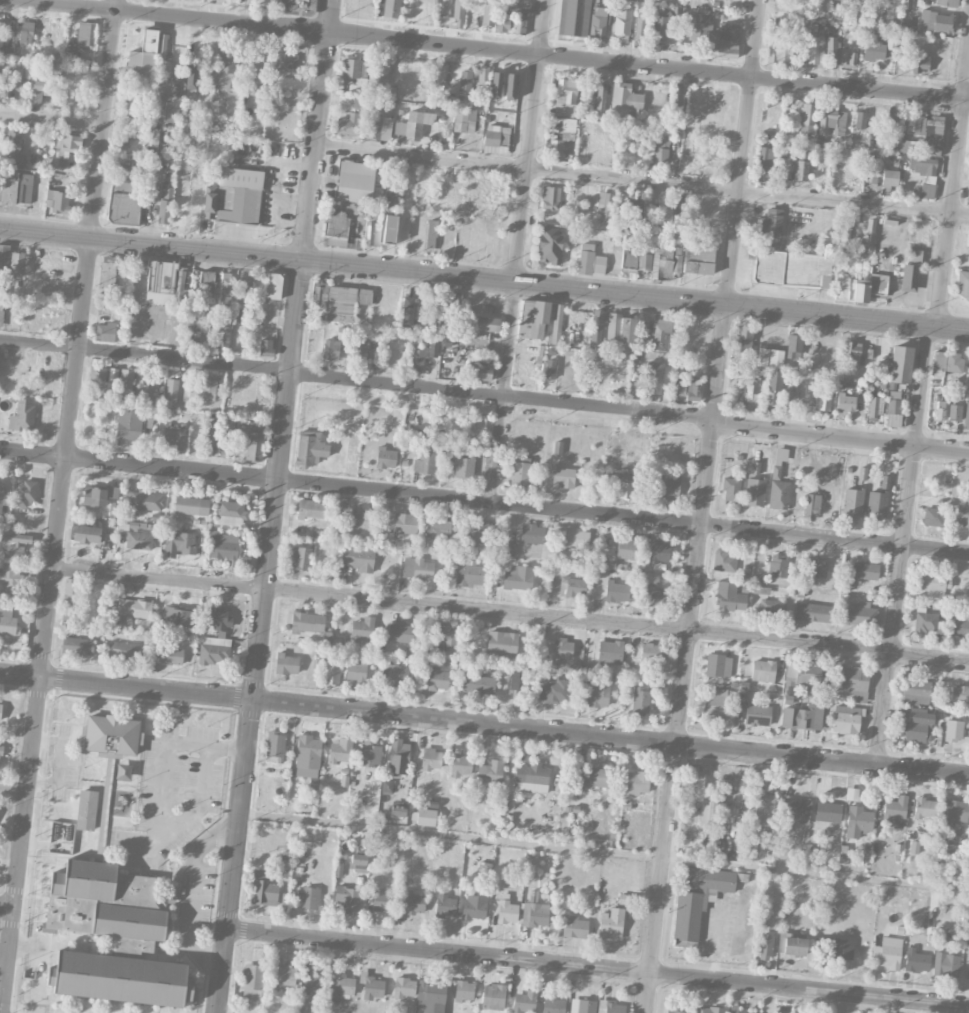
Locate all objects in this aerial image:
building: (277, 1)
building: (489, 1)
building: (854, 2)
building: (513, 3)
building: (907, 3)
building: (946, 3)
building: (391, 8)
building: (451, 8)
building: (873, 10)
building: (838, 11)
building: (891, 12)
building: (488, 14)
building: (574, 17)
building: (935, 22)
building: (502, 23)
building: (519, 23)
building: (622, 23)
building: (660, 24)
building: (696, 25)
building: (597, 26)
building: (639, 28)
building: (85, 35)
building: (1, 36)
building: (25, 36)
building: (726, 41)
building: (890, 42)
road: (492, 50)
building: (779, 50)
building: (814, 50)
building: (831, 50)
building: (874, 50)
building: (279, 58)
building: (848, 58)
building: (919, 60)
building: (292, 61)
building: (158, 70)
building: (379, 72)
building: (225, 73)
building: (353, 74)
building: (192, 77)
building: (258, 78)
building: (482, 79)
building: (464, 84)
building: (495, 85)
building: (510, 86)
building: (38, 90)
building: (600, 97)
building: (565, 98)
building: (678, 100)
building: (624, 101)
building: (131, 104)
building: (809, 117)
building: (859, 120)
road: (53, 121)
building: (464, 121)
building: (832, 121)
building: (413, 125)
building: (373, 126)
building: (914, 134)
building: (124, 135)
building: (154, 135)
building: (565, 138)
building: (496, 139)
building: (67, 144)
building: (14, 149)
building: (659, 149)
building: (800, 153)
building: (766, 160)
building: (921, 166)
building: (801, 170)
building: (889, 178)
building: (355, 181)
building: (0, 182)
building: (126, 182)
road: (642, 182)
building: (25, 187)
building: (926, 190)
building: (391, 193)
building: (234, 196)
road: (953, 196)
building: (550, 197)
building: (968, 197)
building: (57, 200)
building: (123, 208)
building: (605, 208)
building: (164, 211)
building: (634, 213)
building: (664, 216)
building: (678, 219)
building: (334, 223)
building: (770, 224)
building: (389, 229)
building: (372, 234)
building: (431, 235)
building: (844, 236)
building: (868, 236)
building: (614, 243)
building: (548, 245)
road: (519, 252)
building: (915, 255)
building: (636, 257)
building: (698, 257)
building: (4, 258)
building: (586, 258)
building: (16, 263)
building: (599, 264)
building: (661, 267)
building: (791, 268)
building: (106, 274)
building: (909, 277)
road: (484, 280)
building: (160, 282)
building: (181, 284)
building: (877, 284)
building: (274, 285)
building: (206, 286)
building: (963, 286)
building: (851, 289)
building: (226, 290)
building: (243, 292)
building: (320, 297)
building: (345, 302)
building: (1, 309)
building: (407, 312)
building: (437, 315)
building: (532, 318)
building: (487, 323)
building: (556, 325)
building: (596, 325)
building: (620, 328)
building: (194, 329)
building: (222, 330)
building: (105, 331)
building: (342, 332)
building: (660, 334)
building: (743, 336)
building: (359, 346)
building: (793, 346)
building: (265, 347)
building: (330, 349)
building: (433, 349)
building: (851, 349)
building: (770, 358)
building: (417, 359)
building: (946, 362)
building: (900, 364)
building: (479, 372)
road: (356, 377)
building: (653, 377)
building: (103, 378)
building: (968, 380)
building: (126, 381)
building: (141, 383)
building: (693, 389)
building: (200, 390)
building: (771, 392)
building: (171, 393)
building: (750, 393)
building: (787, 399)
building: (823, 402)
building: (873, 407)
building: (940, 410)
building: (954, 412)
building: (894, 413)
building: (23, 415)
building: (966, 415)
building: (128, 424)
building: (105, 430)
building: (211, 433)
building: (173, 435)
road: (840, 436)
building: (250, 445)
building: (557, 447)
building: (310, 448)
building: (385, 458)
building: (424, 462)
building: (464, 467)
building: (520, 473)
building: (562, 476)
building: (778, 482)
building: (668, 486)
building: (624, 489)
building: (731, 489)
building: (754, 491)
building: (24, 493)
building: (98, 495)
building: (4, 497)
building: (141, 501)
building: (852, 502)
building: (877, 502)
road: (484, 504)
building: (191, 505)
road: (61, 506)
road: (275, 506)
road: (704, 506)
building: (811, 507)
building: (310, 509)
building: (230, 513)
building: (931, 516)
building: (962, 517)
building: (360, 520)
building: (405, 523)
building: (439, 527)
building: (480, 532)
building: (87, 534)
building: (532, 534)
building: (576, 537)
building: (138, 540)
building: (179, 544)
building: (15, 545)
road: (903, 547)
building: (224, 548)
building: (626, 549)
building: (659, 551)
building: (357, 557)
building: (301, 558)
building: (725, 561)
building: (777, 565)
building: (815, 567)
building: (417, 568)
building: (865, 570)
building: (470, 572)
building: (518, 577)
road: (160, 579)
building: (9, 581)
building: (934, 582)
building: (572, 586)
building: (71, 590)
building: (617, 591)
building: (655, 595)
building: (729, 597)
building: (765, 602)
building: (134, 607)
building: (814, 612)
building: (856, 614)
building: (180, 618)
building: (220, 618)
building: (7, 620)
building: (925, 620)
building: (306, 622)
road: (617, 624)
building: (960, 625)
building: (362, 629)
building: (400, 632)
building: (441, 636)
building: (502, 643)
building: (77, 645)
building: (214, 649)
building: (562, 649)
building: (123, 650)
building: (610, 651)
building: (650, 651)
building: (166, 655)
building: (286, 664)
building: (718, 665)
building: (763, 670)
building: (356, 671)
building: (332, 672)
building: (397, 674)
building: (807, 675)
building: (437, 678)
building: (513, 678)
building: (852, 681)
building: (478, 685)
building: (915, 687)
building: (554, 690)
building: (594, 694)
building: (959, 694)
building: (640, 700)
building: (714, 705)
building: (0, 710)
building: (757, 715)
building: (803, 717)
building: (846, 719)
building: (914, 724)
road: (484, 726)
building: (953, 730)
building: (110, 734)
building: (1, 738)
building: (275, 747)
building: (340, 750)
building: (0, 754)
building: (369, 754)
building: (398, 756)
building: (308, 758)
building: (431, 759)
building: (461, 766)
building: (490, 772)
building: (596, 777)
building: (533, 779)
building: (636, 782)
building: (694, 784)
building: (386, 787)
road: (14, 790)
building: (895, 808)
building: (925, 808)
building: (86, 809)
building: (398, 810)
building: (764, 810)
building: (796, 810)
building: (956, 811)
building: (828, 812)
building: (707, 813)
building: (426, 817)
building: (858, 821)
building: (951, 849)
road: (604, 852)
building: (358, 863)
building: (484, 868)
building: (263, 889)
road: (192, 896)
building: (310, 898)
building: (697, 899)
building: (347, 900)
building: (381, 900)
building: (410, 902)
building: (106, 905)
road: (7, 906)
building: (445, 906)
building: (474, 907)
building: (507, 912)
building: (534, 912)
building: (611, 923)
building: (574, 926)
building: (967, 932)
building: (780, 944)
building: (764, 946)
building: (794, 946)
building: (837, 948)
building: (886, 956)
building: (916, 961)
building: (945, 964)
road: (597, 966)
building: (285, 976)
building: (120, 978)
building: (253, 981)
building: (311, 982)
building: (341, 987)
building: (404, 987)
building: (373, 988)
building: (464, 990)
building: (493, 996)
building: (430, 997)
building: (524, 1001)
building: (553, 1005)
building: (582, 1006)
building: (610, 1007)
building: (733, 1007)
building: (711, 1009)
building: (674, 1011)
building: (775, 1012)

